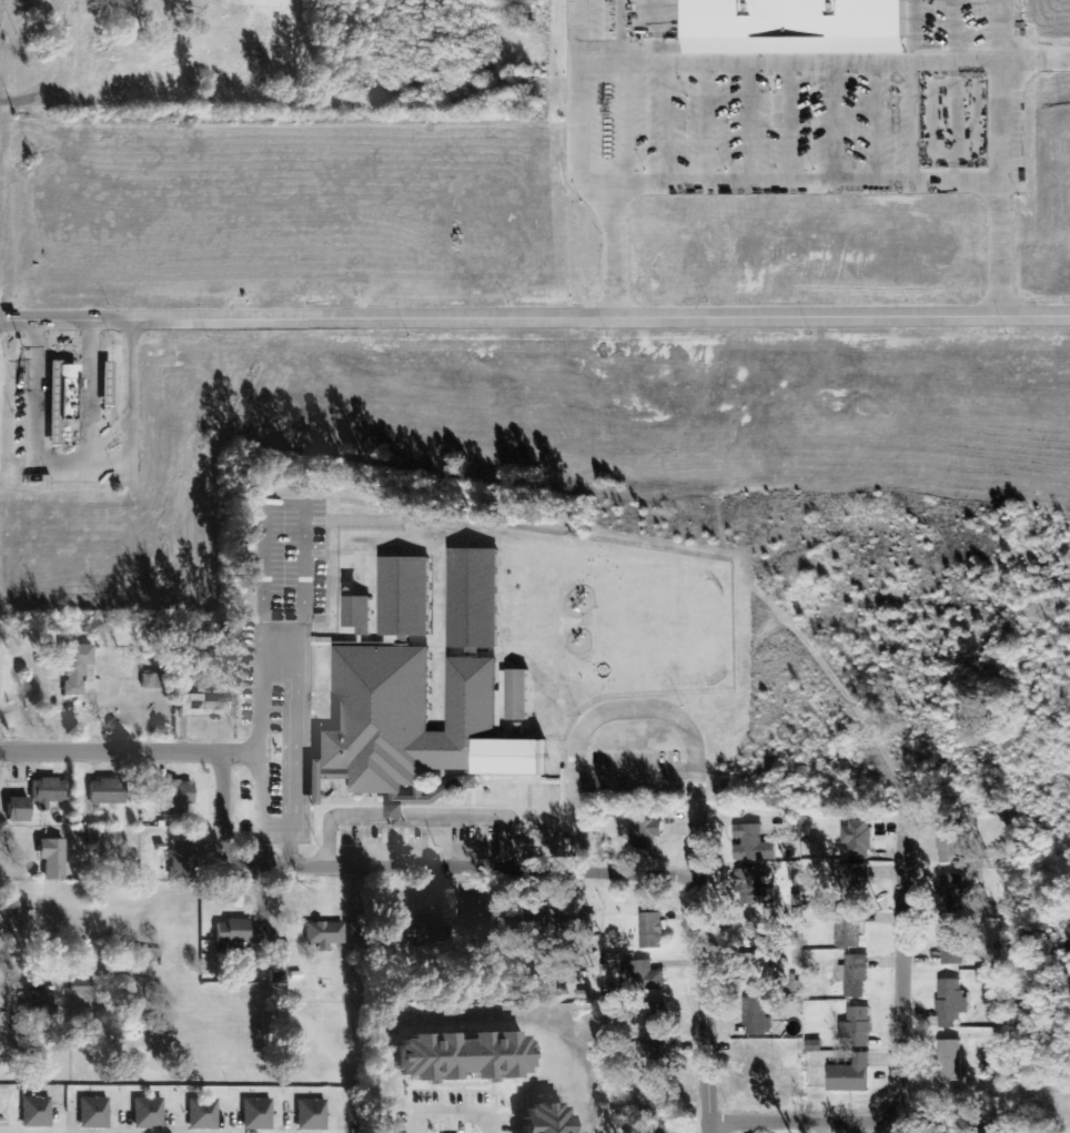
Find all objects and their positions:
building: (801, 28)
road: (535, 313)
building: (108, 385)
building: (63, 398)
road: (282, 509)
building: (360, 616)
building: (75, 668)
building: (152, 681)
building: (426, 688)
building: (521, 696)
building: (202, 705)
road: (609, 711)
road: (130, 750)
building: (109, 791)
building: (176, 797)
building: (38, 799)
building: (645, 837)
building: (859, 839)
building: (952, 842)
building: (755, 844)
building: (53, 859)
building: (182, 860)
road: (478, 869)
building: (860, 879)
building: (754, 889)
building: (952, 894)
building: (522, 921)
building: (579, 923)
building: (483, 924)
building: (421, 925)
building: (849, 928)
building: (653, 931)
building: (243, 933)
building: (357, 934)
building: (325, 935)
building: (952, 945)
building: (761, 970)
building: (648, 977)
road: (704, 977)
building: (857, 978)
building: (988, 978)
building: (85, 990)
building: (952, 1003)
building: (41, 1006)
building: (758, 1016)
building: (659, 1021)
building: (857, 1029)
building: (470, 1055)
road: (916, 1059)
building: (663, 1061)
building: (951, 1061)
building: (852, 1075)
building: (24, 1109)
building: (657, 1109)
building: (39, 1110)
building: (85, 1110)
building: (138, 1110)
building: (99, 1111)
building: (152, 1111)
building: (193, 1111)
building: (206, 1111)
building: (246, 1111)
building: (260, 1112)
building: (301, 1112)
building: (315, 1113)
road: (508, 1126)

